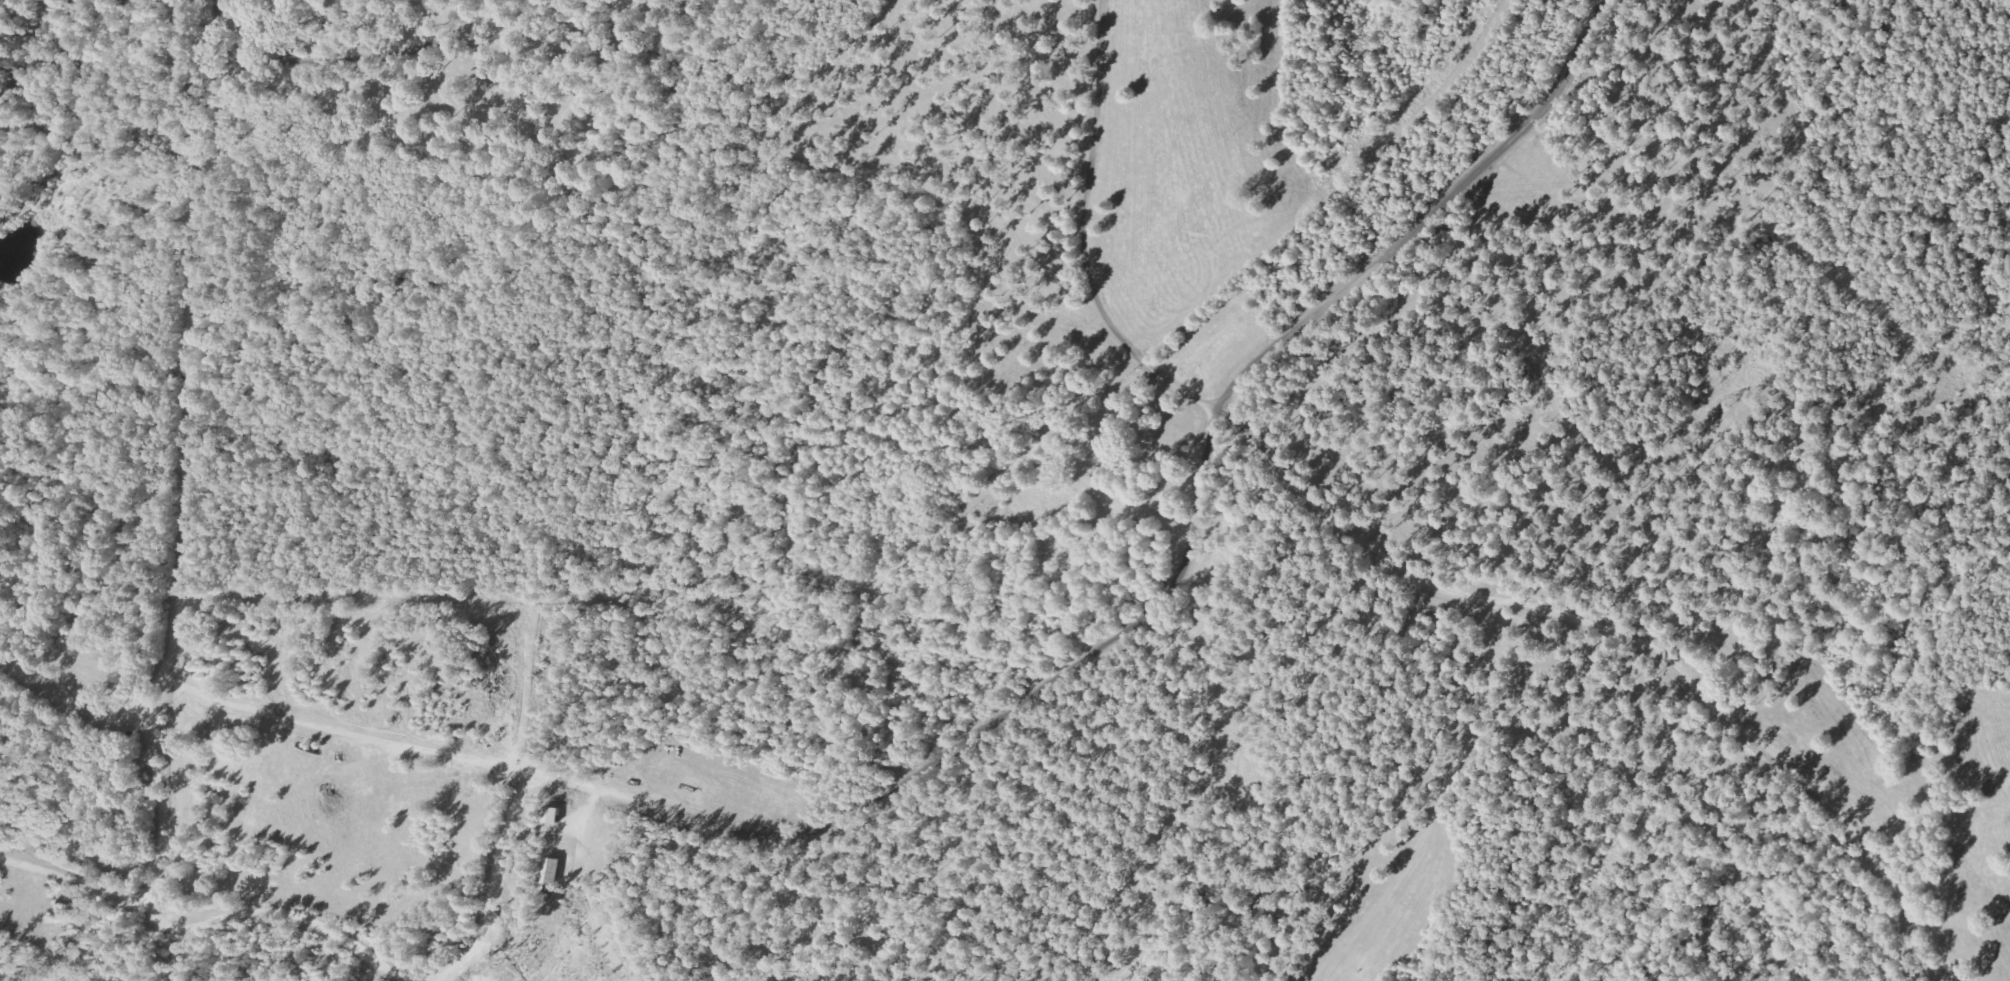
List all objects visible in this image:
road: (1010, 145)
road: (1091, 652)
building: (552, 815)
building: (553, 872)
road: (207, 920)

